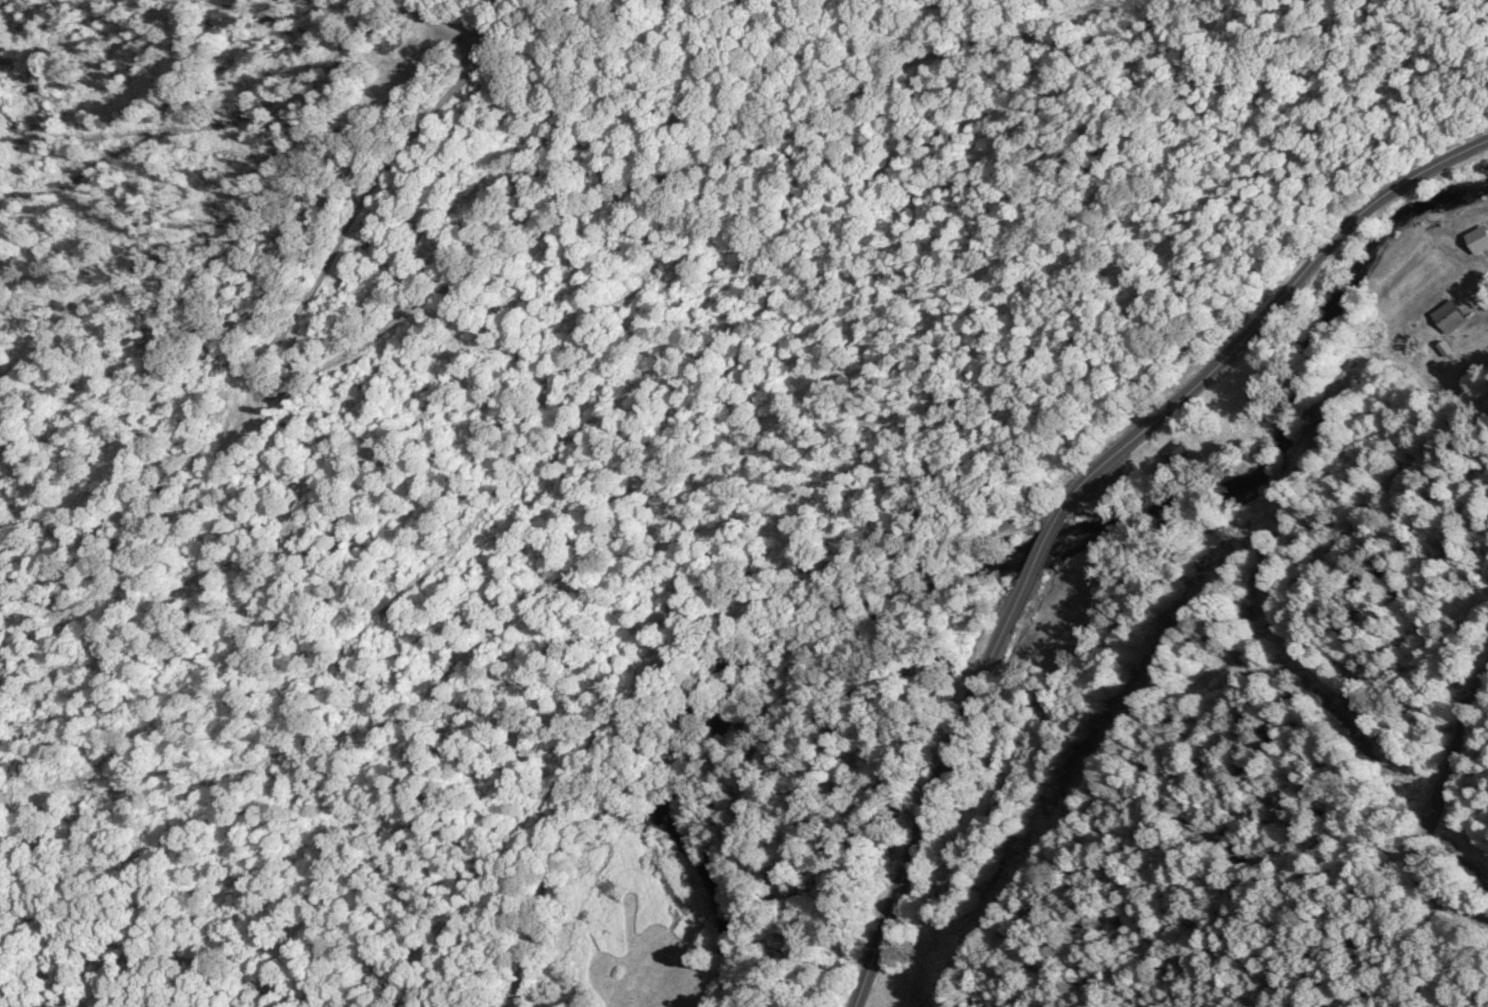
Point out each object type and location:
road: (451, 230)
building: (1180, 449)
road: (1071, 495)

